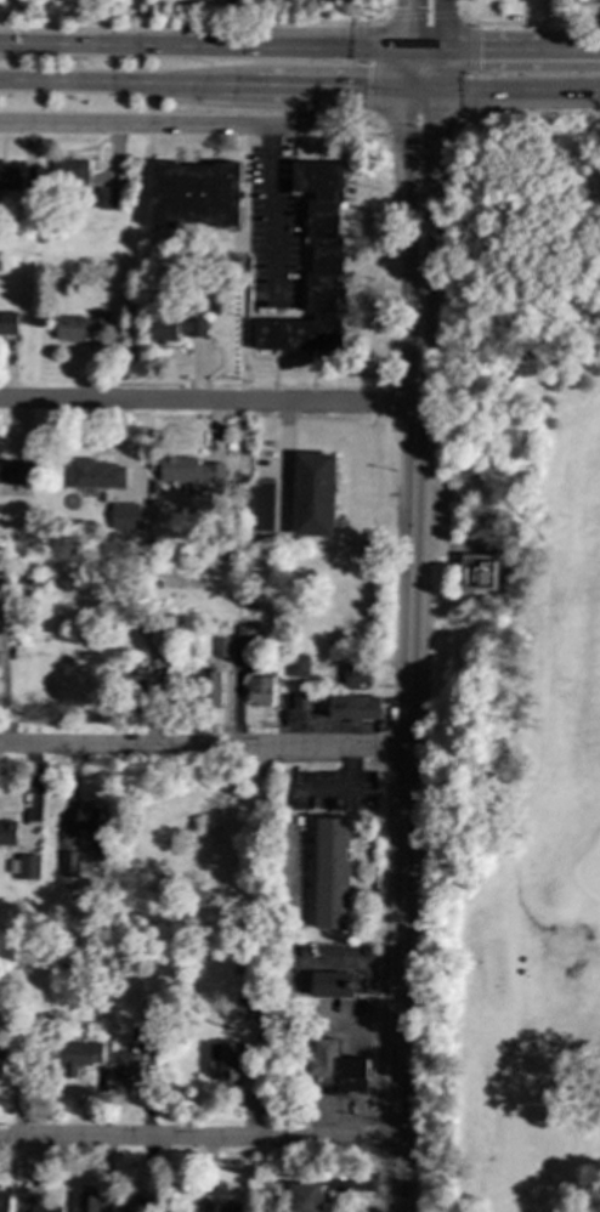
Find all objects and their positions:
road: (126, 13)
road: (423, 15)
road: (404, 18)
road: (440, 18)
building: (515, 18)
road: (525, 19)
road: (516, 23)
road: (197, 28)
road: (202, 39)
road: (421, 39)
road: (481, 39)
road: (550, 40)
road: (589, 41)
road: (471, 66)
road: (372, 68)
road: (113, 81)
road: (316, 83)
road: (421, 84)
road: (519, 85)
road: (463, 118)
road: (375, 119)
road: (417, 124)
road: (152, 125)
road: (407, 151)
road: (434, 151)
building: (70, 171)
building: (9, 176)
building: (193, 194)
building: (107, 198)
road: (274, 211)
building: (316, 267)
building: (7, 325)
building: (78, 325)
building: (175, 328)
road: (206, 403)
building: (191, 471)
building: (15, 472)
building: (95, 474)
building: (313, 493)
building: (261, 505)
building: (125, 516)
building: (2, 572)
building: (479, 572)
building: (245, 638)
building: (221, 646)
building: (296, 664)
building: (367, 674)
park: (514, 676)
building: (136, 683)
building: (210, 687)
building: (260, 690)
building: (301, 701)
building: (370, 708)
road: (407, 737)
road: (203, 746)
building: (89, 817)
building: (7, 832)
building: (68, 863)
building: (27, 866)
building: (332, 873)
building: (332, 984)
building: (240, 1008)
building: (81, 1057)
building: (225, 1061)
building: (2, 1064)
building: (360, 1076)
road: (198, 1138)
building: (305, 1197)
building: (4, 1201)
building: (89, 1203)
building: (134, 1203)
building: (33, 1206)
building: (228, 1206)

